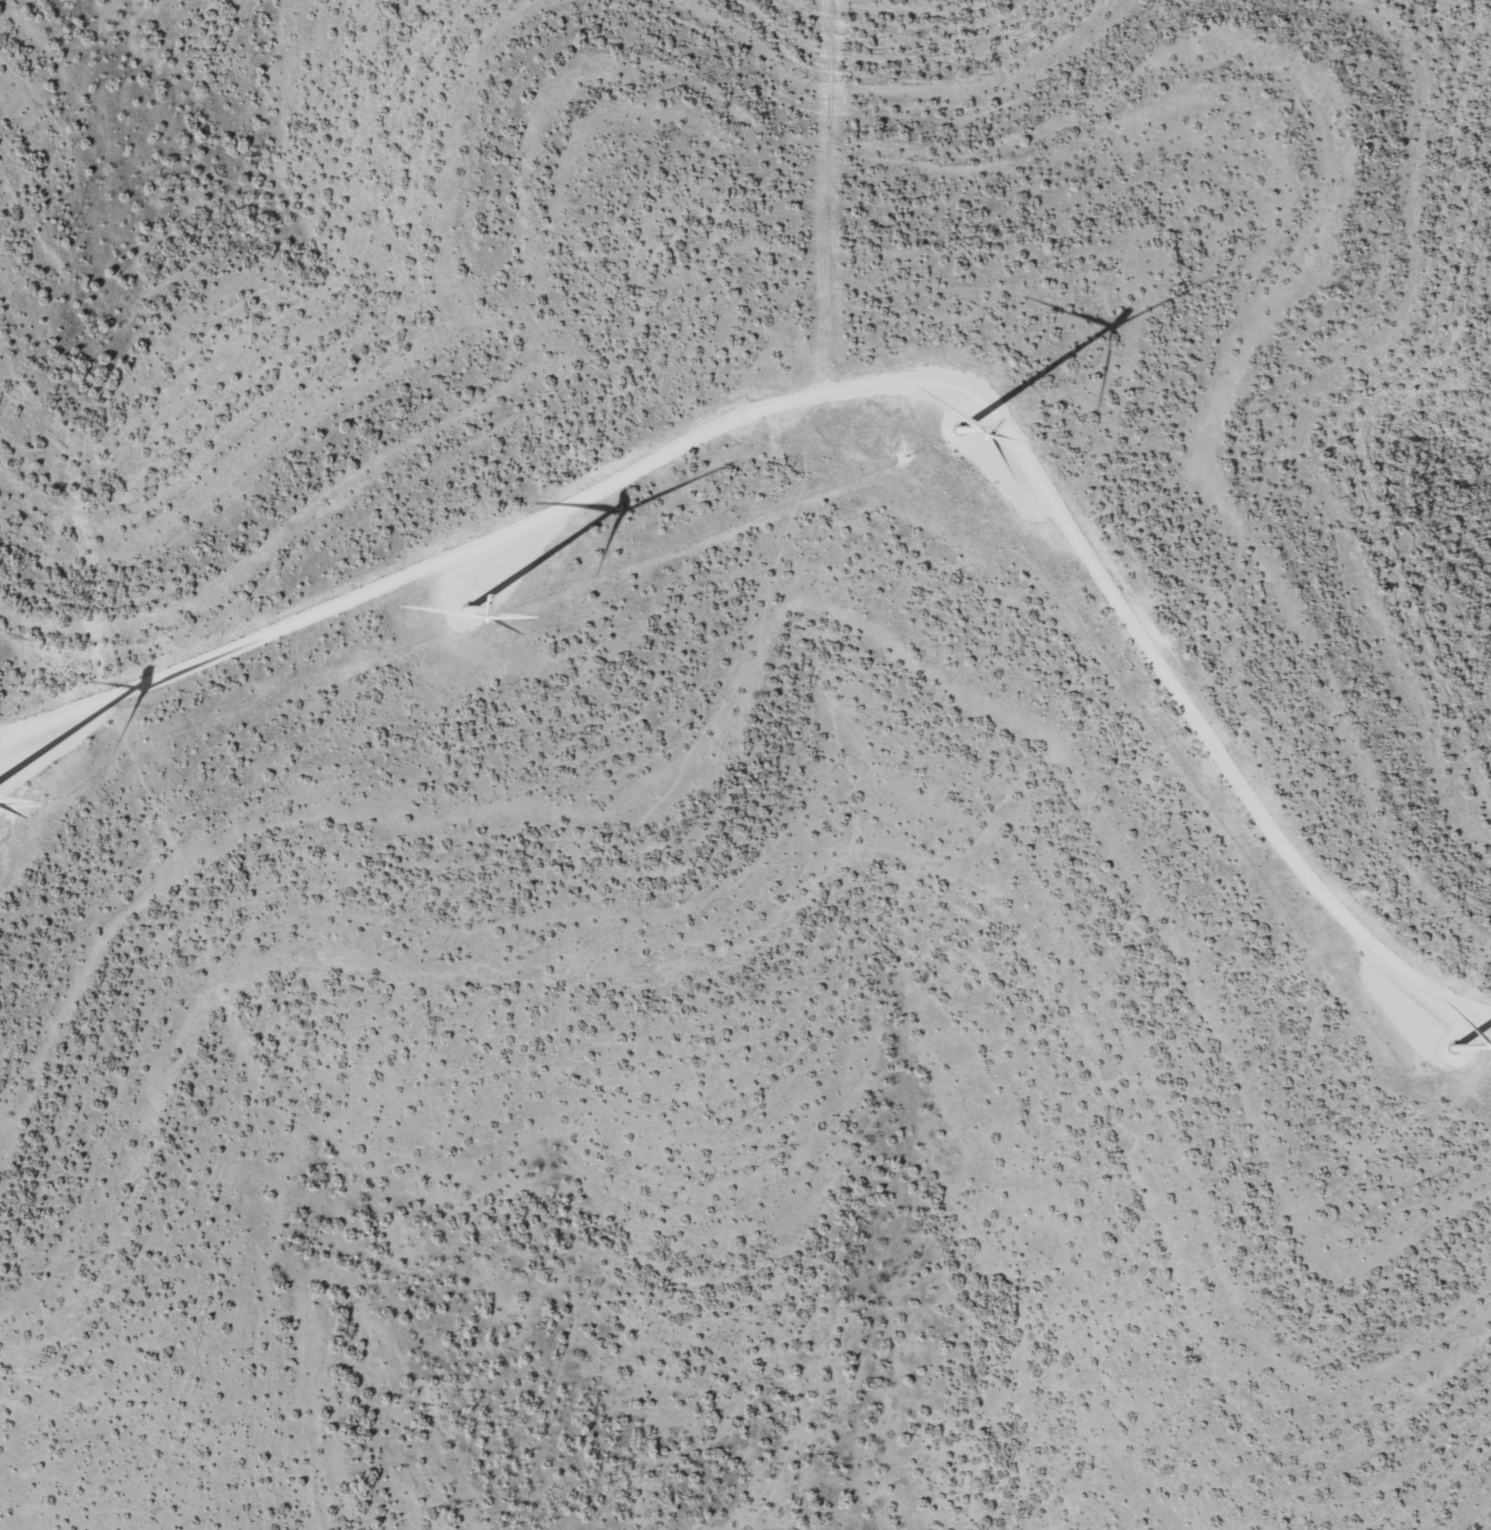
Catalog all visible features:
wind turbine: (930, 431)
wind turbine: (434, 647)
wind turbine: (1452, 1047)

